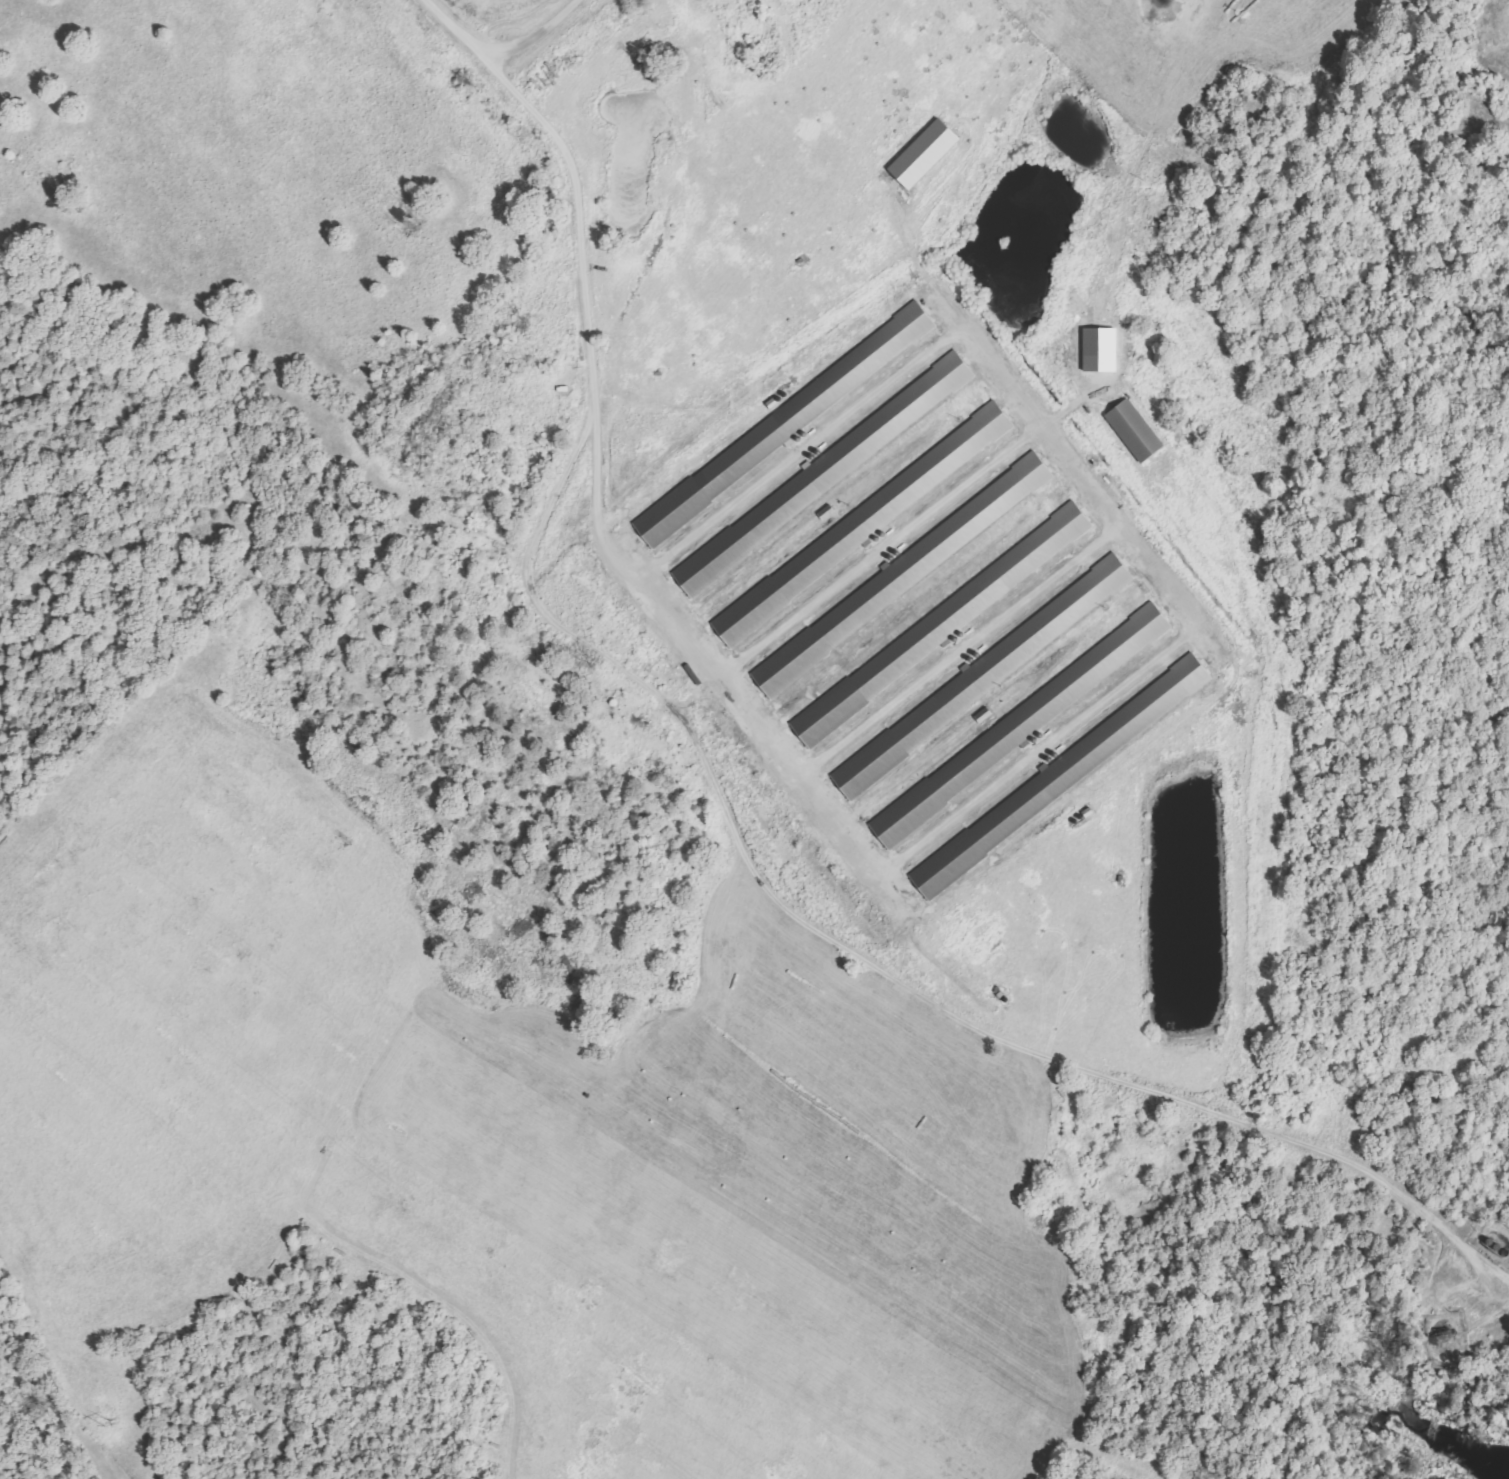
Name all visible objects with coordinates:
building: (921, 154)
building: (1132, 430)
building: (772, 432)
road: (596, 464)
building: (828, 468)
building: (825, 512)
building: (860, 524)
building: (912, 566)
building: (939, 624)
building: (989, 670)
building: (981, 715)
building: (1025, 720)
building: (1058, 776)

